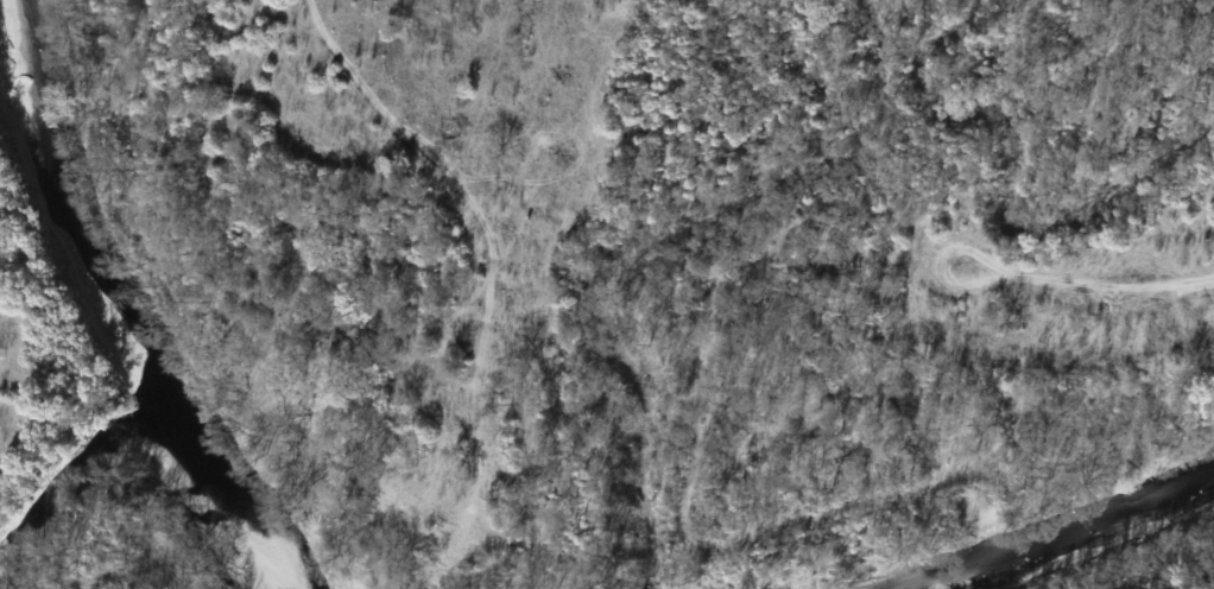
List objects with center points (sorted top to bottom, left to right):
river: (76, 215)
road: (1111, 283)
river: (226, 500)
river: (1067, 536)

